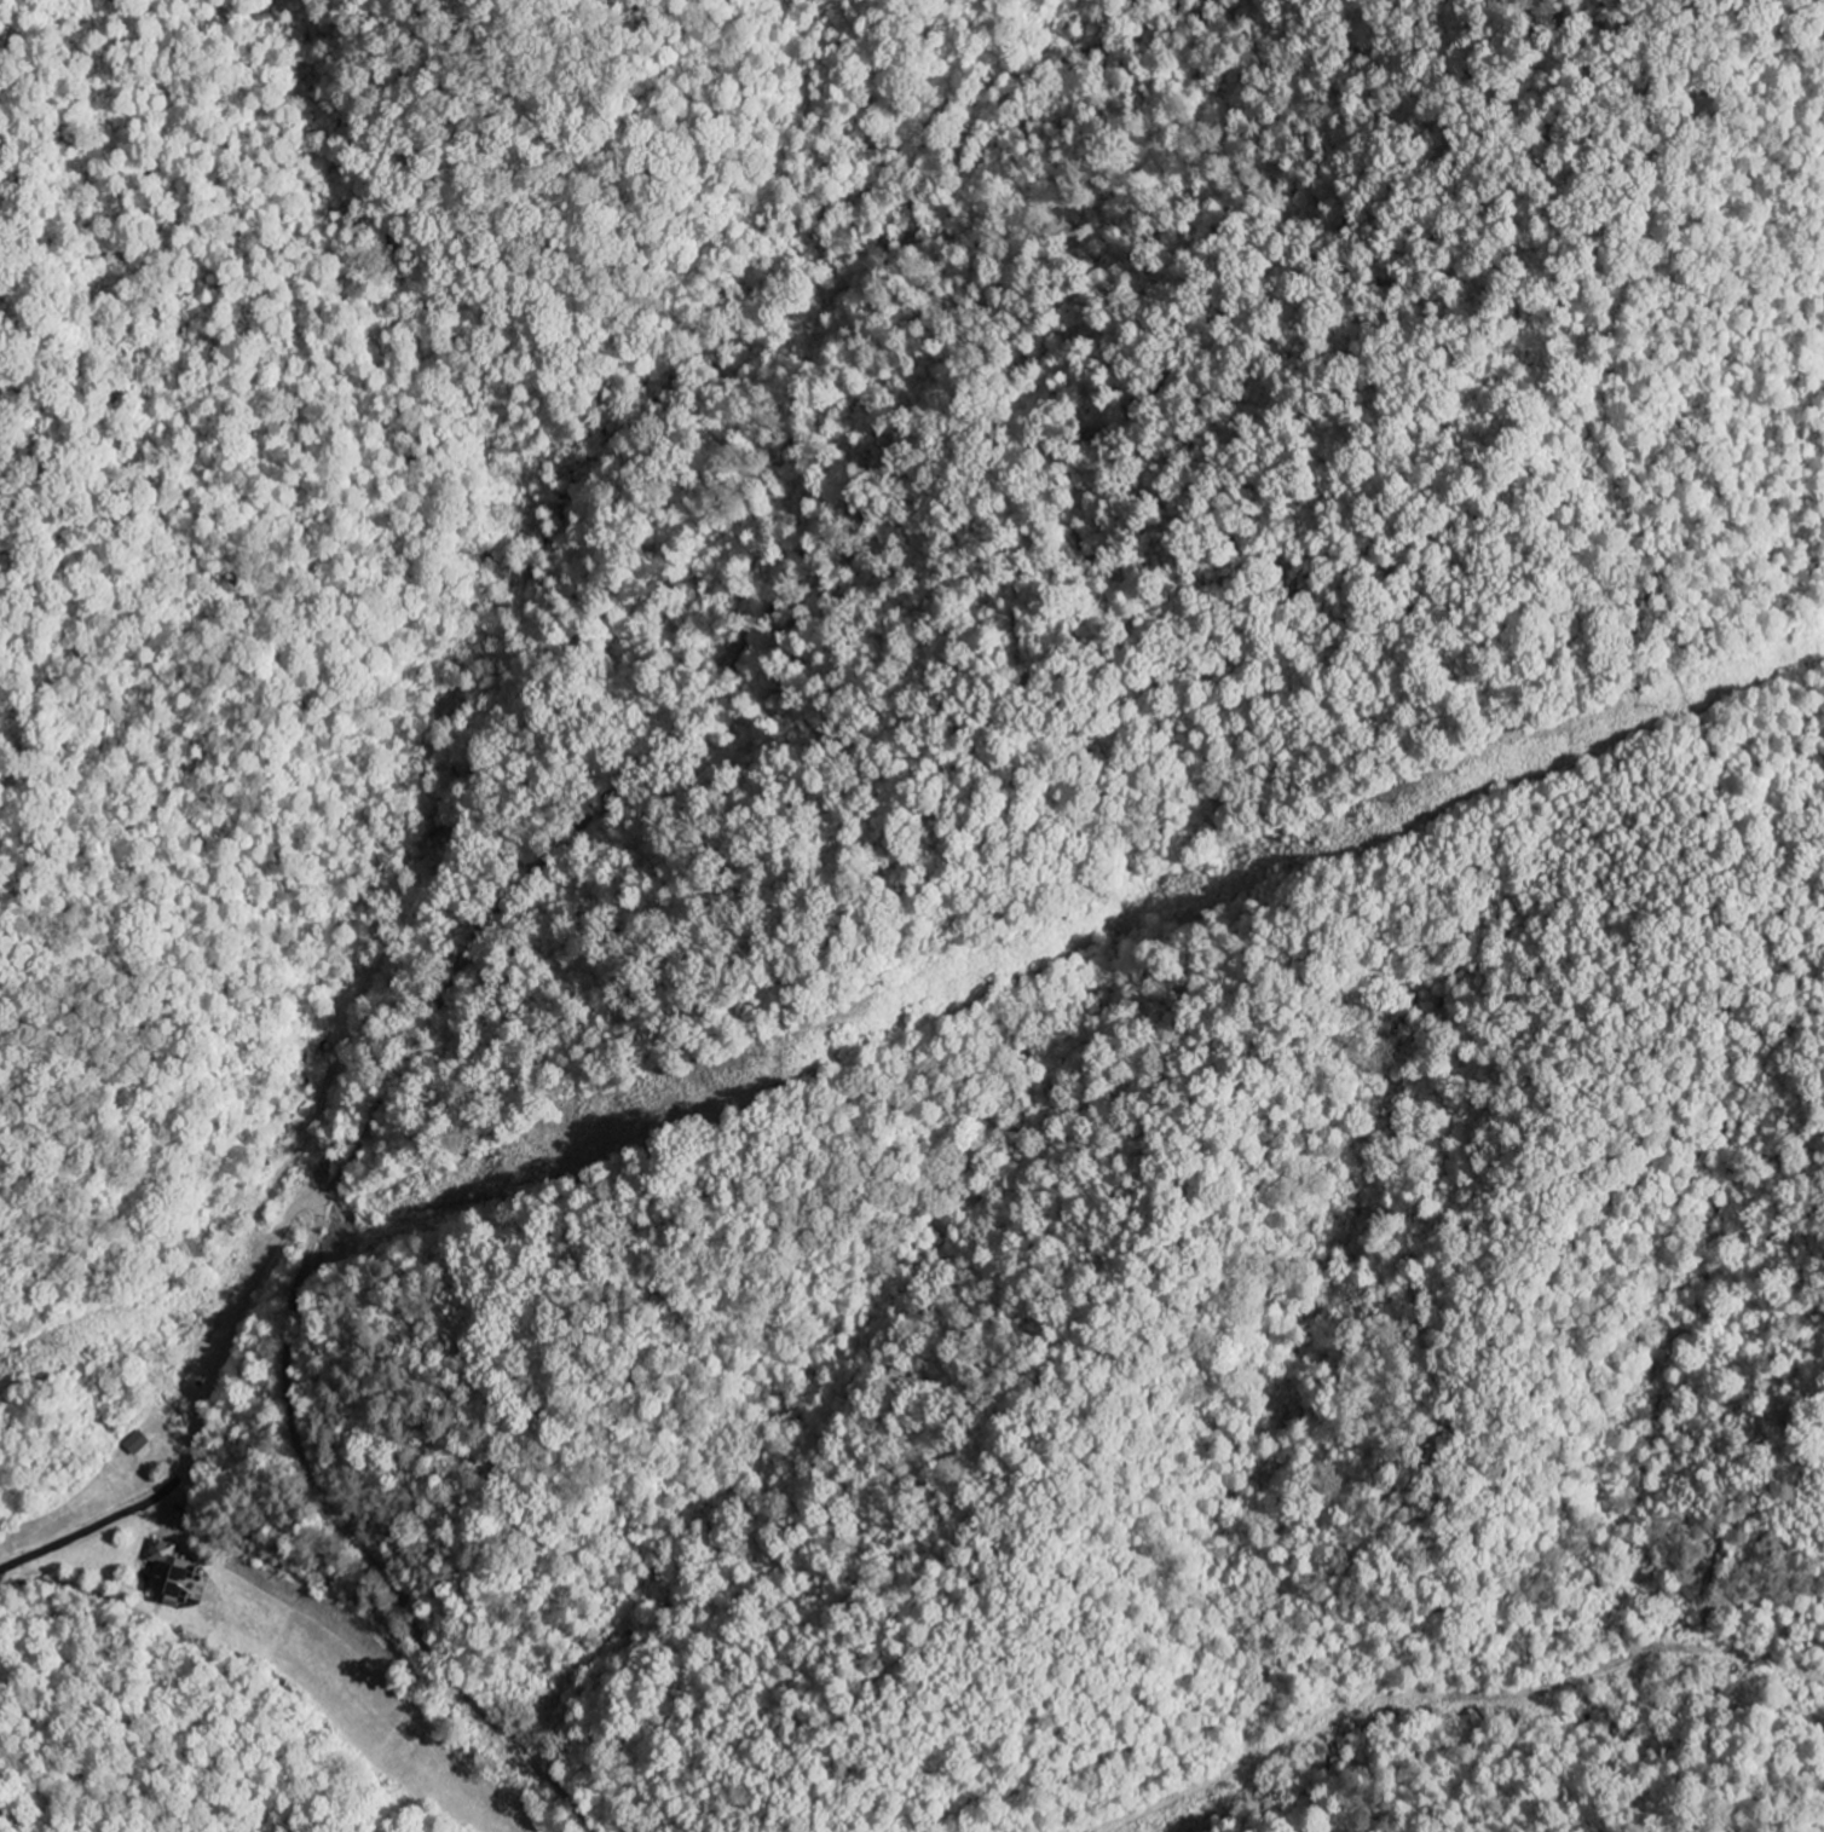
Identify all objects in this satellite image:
building: (139, 1445)
road: (1148, 1475)
road: (282, 1571)
building: (178, 1580)
road: (539, 1798)

